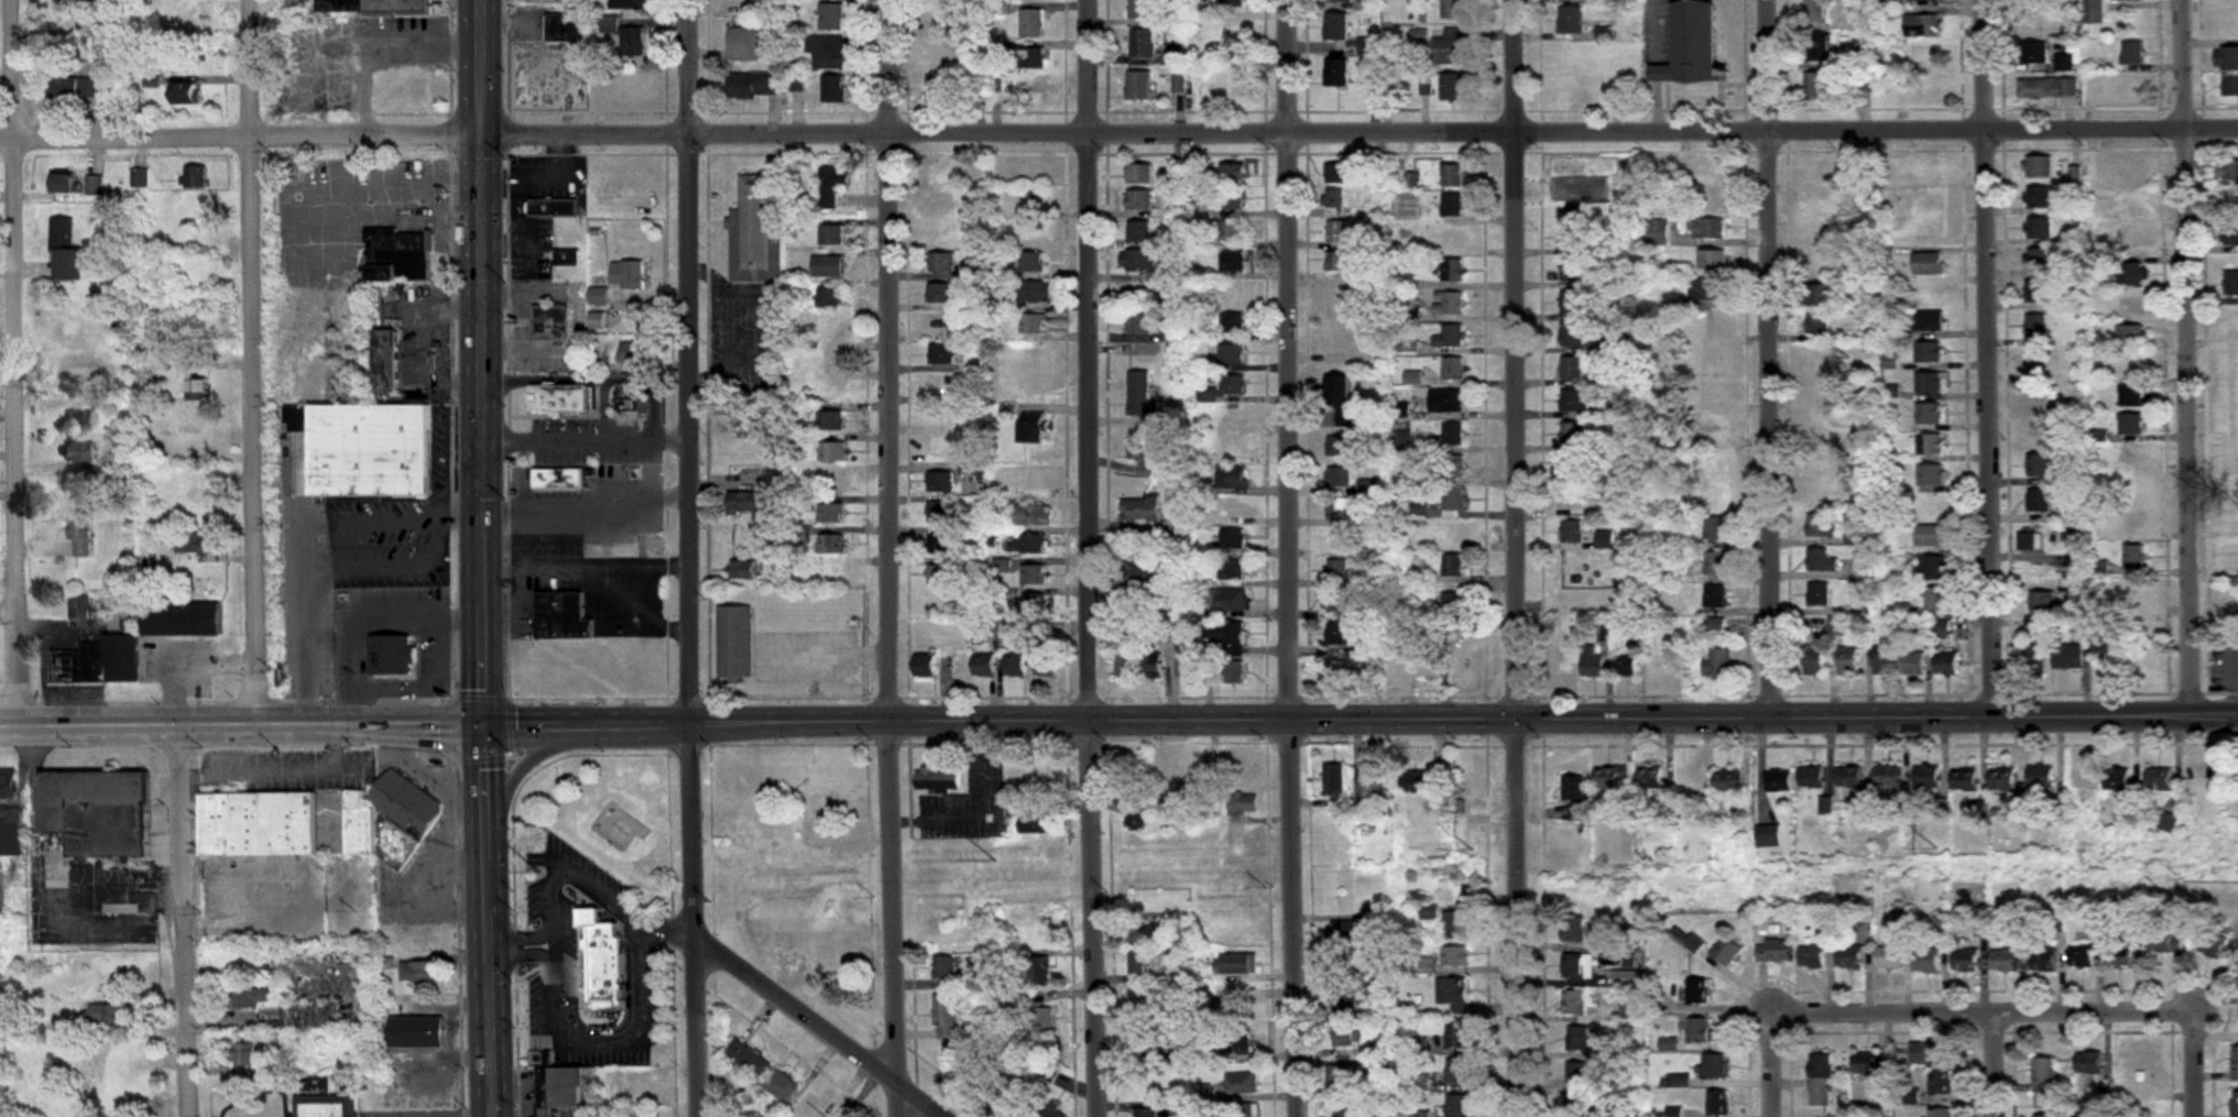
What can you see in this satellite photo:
building: (1020, 0)
building: (1923, 0)
building: (2030, 0)
building: (2128, 0)
building: (1339, 1)
building: (1231, 2)
building: (742, 3)
building: (626, 4)
building: (374, 8)
building: (1140, 9)
building: (1451, 9)
building: (1815, 11)
building: (2093, 11)
building: (943, 13)
building: (178, 17)
building: (830, 17)
building: (2030, 17)
building: (1570, 19)
building: (610, 24)
building: (1031, 24)
building: (2227, 25)
building: (1335, 26)
building: (1922, 26)
building: (1604, 32)
building: (1233, 35)
building: (1418, 36)
road: (376, 42)
building: (632, 43)
building: (1142, 43)
building: (743, 44)
building: (1690, 44)
building: (1449, 47)
building: (1819, 48)
building: (826, 52)
building: (940, 52)
building: (2033, 53)
building: (2131, 53)
building: (1925, 55)
building: (1030, 58)
building: (2226, 58)
building: (2063, 63)
building: (1335, 72)
building: (1614, 84)
building: (596, 85)
building: (1138, 85)
building: (1926, 85)
building: (752, 86)
building: (1815, 86)
building: (2129, 86)
building: (2230, 86)
building: (1451, 87)
building: (76, 88)
building: (631, 88)
building: (833, 88)
building: (2046, 88)
building: (938, 89)
building: (1570, 91)
building: (185, 94)
road: (1118, 132)
building: (2038, 166)
building: (1821, 171)
building: (1926, 171)
building: (2228, 171)
building: (1707, 172)
building: (1231, 173)
building: (1336, 173)
building: (939, 174)
building: (1139, 174)
building: (2128, 174)
building: (1452, 175)
building: (140, 178)
building: (195, 178)
building: (63, 184)
building: (94, 184)
building: (830, 186)
building: (2038, 197)
building: (1333, 198)
building: (1712, 198)
building: (1231, 199)
building: (1138, 200)
building: (2228, 200)
building: (939, 201)
building: (1035, 201)
building: (1928, 201)
building: (1821, 202)
building: (1451, 205)
building: (553, 208)
building: (1573, 209)
building: (196, 222)
building: (2039, 228)
building: (1708, 229)
building: (1232, 230)
building: (754, 231)
building: (1338, 231)
building: (940, 232)
building: (1030, 232)
building: (1138, 232)
building: (1658, 232)
building: (1930, 232)
building: (1817, 233)
building: (833, 236)
building: (2231, 236)
building: (1575, 237)
building: (1452, 238)
building: (2129, 242)
building: (64, 253)
building: (396, 254)
building: (567, 256)
building: (2039, 259)
building: (1712, 260)
building: (1135, 261)
building: (1232, 261)
building: (1338, 262)
building: (941, 263)
building: (1031, 263)
building: (1928, 263)
building: (1816, 264)
building: (828, 266)
building: (1575, 270)
building: (1452, 271)
building: (2137, 274)
building: (627, 275)
building: (2230, 284)
building: (1705, 289)
building: (1035, 292)
building: (1232, 292)
building: (2035, 292)
building: (939, 294)
building: (1929, 294)
building: (1816, 295)
building: (598, 296)
building: (830, 297)
building: (1341, 297)
building: (1571, 303)
building: (1449, 304)
building: (2131, 306)
building: (1928, 320)
building: (597, 321)
building: (550, 322)
building: (1232, 322)
building: (1713, 322)
building: (1816, 322)
building: (1138, 324)
building: (940, 325)
building: (1034, 325)
building: (2035, 326)
building: (832, 329)
building: (2230, 330)
building: (1575, 336)
building: (1449, 337)
building: (2129, 337)
building: (1343, 338)
building: (1926, 352)
building: (635, 353)
building: (1231, 353)
building: (941, 354)
building: (1714, 357)
building: (1821, 357)
road: (2192, 357)
road: (1769, 358)
road: (1987, 358)
building: (830, 360)
building: (384, 361)
road: (252, 362)
road: (482, 362)
building: (2229, 362)
road: (19, 363)
building: (1572, 368)
building: (2131, 368)
building: (1028, 369)
building: (1453, 369)
road: (591, 379)
building: (1929, 383)
building: (1231, 384)
building: (941, 385)
building: (196, 390)
building: (830, 390)
building: (1710, 391)
building: (2229, 392)
building: (1139, 393)
building: (1338, 395)
building: (2038, 395)
building: (2130, 396)
building: (560, 398)
building: (1445, 401)
building: (1572, 401)
building: (103, 402)
road: (601, 409)
building: (1929, 414)
building: (1231, 416)
building: (830, 420)
building: (79, 421)
building: (193, 421)
building: (2229, 421)
building: (2131, 424)
building: (1711, 426)
building: (1816, 426)
building: (744, 428)
building: (1033, 428)
building: (2039, 429)
building: (1452, 434)
building: (1572, 434)
road: (587, 439)
building: (1930, 445)
building: (1232, 446)
building: (1339, 447)
building: (365, 449)
building: (832, 451)
building: (77, 452)
building: (2131, 453)
building: (2229, 453)
building: (1143, 455)
building: (1816, 457)
building: (1714, 461)
building: (1573, 464)
building: (2038, 466)
building: (1453, 467)
building: (1930, 475)
building: (1231, 478)
building: (1339, 478)
building: (557, 479)
building: (1030, 479)
building: (194, 481)
building: (833, 482)
building: (939, 483)
building: (85, 485)
building: (996, 485)
building: (2108, 485)
building: (1713, 495)
building: (1572, 499)
building: (2038, 501)
building: (1453, 502)
building: (744, 503)
road: (462, 504)
building: (193, 505)
building: (1233, 508)
building: (1339, 508)
building: (1140, 510)
road: (589, 513)
building: (830, 513)
building: (939, 513)
road: (373, 516)
building: (1031, 516)
building: (2133, 523)
building: (1821, 528)
building: (1714, 529)
building: (1571, 532)
building: (1453, 533)
building: (79, 534)
building: (1931, 536)
building: (1232, 539)
building: (1605, 540)
building: (2028, 541)
building: (1412, 543)
building: (190, 544)
building: (830, 544)
building: (1034, 544)
building: (940, 545)
building: (2230, 551)
road: (690, 558)
road: (888, 558)
road: (1089, 558)
road: (1286, 558)
road: (1515, 558)
building: (2135, 558)
road: (391, 559)
building: (1821, 561)
building: (1715, 565)
building: (1453, 566)
building: (1003, 567)
building: (1860, 569)
building: (1932, 569)
building: (743, 570)
building: (1231, 570)
building: (1338, 571)
building: (1140, 573)
building: (832, 576)
building: (940, 576)
building: (1033, 576)
building: (1580, 579)
building: (1817, 594)
building: (1715, 596)
building: (1936, 599)
building: (1227, 601)
building: (1339, 602)
building: (2041, 602)
building: (2234, 602)
building: (1454, 603)
building: (1034, 605)
building: (1614, 605)
building: (78, 609)
building: (111, 611)
building: (560, 615)
building: (181, 620)
road: (304, 621)
building: (1827, 626)
building: (1714, 627)
building: (1224, 634)
building: (1338, 634)
building: (735, 643)
building: (2106, 647)
building: (390, 657)
building: (2068, 657)
building: (119, 659)
building: (1592, 661)
building: (1813, 661)
building: (1847, 661)
building: (1882, 661)
building: (1127, 662)
building: (1189, 662)
building: (1565, 662)
building: (1045, 664)
building: (1945, 664)
building: (2034, 664)
building: (1015, 665)
building: (1430, 665)
building: (1625, 665)
building: (1911, 665)
building: (76, 666)
building: (925, 666)
building: (984, 666)
building: (1153, 666)
building: (1462, 666)
building: (1658, 666)
building: (1718, 666)
building: (1397, 667)
building: (1233, 672)
building: (1338, 672)
road: (1358, 719)
traffic signals: (480, 724)
road: (239, 725)
building: (1171, 775)
building: (1202, 777)
building: (1887, 777)
building: (2040, 777)
building: (1369, 778)
building: (1688, 778)
building: (1811, 778)
building: (1848, 778)
building: (1926, 778)
building: (1613, 779)
building: (1650, 779)
building: (2160, 779)
building: (2206, 779)
building: (939, 780)
building: (1334, 780)
building: (2117, 780)
building: (1424, 781)
building: (1727, 781)
building: (1779, 781)
building: (1965, 781)
building: (2002, 781)
building: (7, 786)
building: (1574, 789)
building: (1243, 806)
building: (96, 813)
building: (389, 820)
building: (1138, 822)
building: (256, 824)
building: (1035, 828)
building: (11, 834)
building: (1767, 836)
road: (524, 851)
building: (1429, 913)
road: (487, 920)
road: (179, 921)
building: (1825, 922)
building: (1455, 926)
road: (664, 929)
building: (1573, 929)
building: (1341, 931)
building: (1147, 935)
building: (2164, 941)
building: (1607, 943)
building: (2213, 945)
building: (1775, 951)
building: (1727, 952)
building: (1892, 952)
building: (2119, 952)
building: (1455, 956)
building: (2082, 956)
building: (843, 957)
building: (1813, 957)
building: (1851, 957)
building: (603, 960)
building: (1966, 961)
building: (2005, 961)
building: (1928, 962)
building: (2042, 962)
building: (1240, 964)
building: (1140, 965)
building: (1574, 966)
building: (945, 967)
building: (1038, 971)
building: (417, 972)
building: (1612, 975)
building: (2237, 976)
building: (1699, 992)
road: (634, 993)
building: (1453, 993)
building: (252, 997)
building: (1352, 999)
building: (1142, 1003)
building: (1575, 1004)
building: (1631, 1006)
building: (1227, 1009)
road: (1978, 1012)
building: (113, 1016)
building: (309, 1017)
building: (946, 1017)
building: (1042, 1022)
road: (816, 1027)
building: (1699, 1030)
building: (415, 1032)
building: (1349, 1036)
building: (1458, 1037)
building: (1577, 1039)
building: (1148, 1041)
building: (1240, 1042)
building: (1669, 1044)
building: (1382, 1049)
building: (1926, 1053)
building: (244, 1060)
building: (747, 1061)
building: (1866, 1063)
building: (2089, 1063)
road: (1766, 1064)
road: (1989, 1064)
road: (2192, 1064)
building: (2235, 1064)
building: (1714, 1066)
building: (1458, 1071)
building: (1347, 1075)
building: (1579, 1075)
building: (2043, 1075)
building: (2136, 1077)
building: (1821, 1080)
building: (1677, 1081)
building: (1941, 1083)
building: (121, 1084)
building: (1242, 1084)
building: (783, 1085)
building: (567, 1087)
building: (1155, 1088)
building: (643, 1089)
building: (1717, 1103)
building: (2235, 1104)
building: (325, 1106)
building: (1458, 1106)
building: (1576, 1107)
road: (433, 1109)
building: (1243, 1110)
building: (1055, 1111)
building: (1146, 1113)
building: (1942, 1113)
building: (2141, 1114)
building: (2046, 1116)

